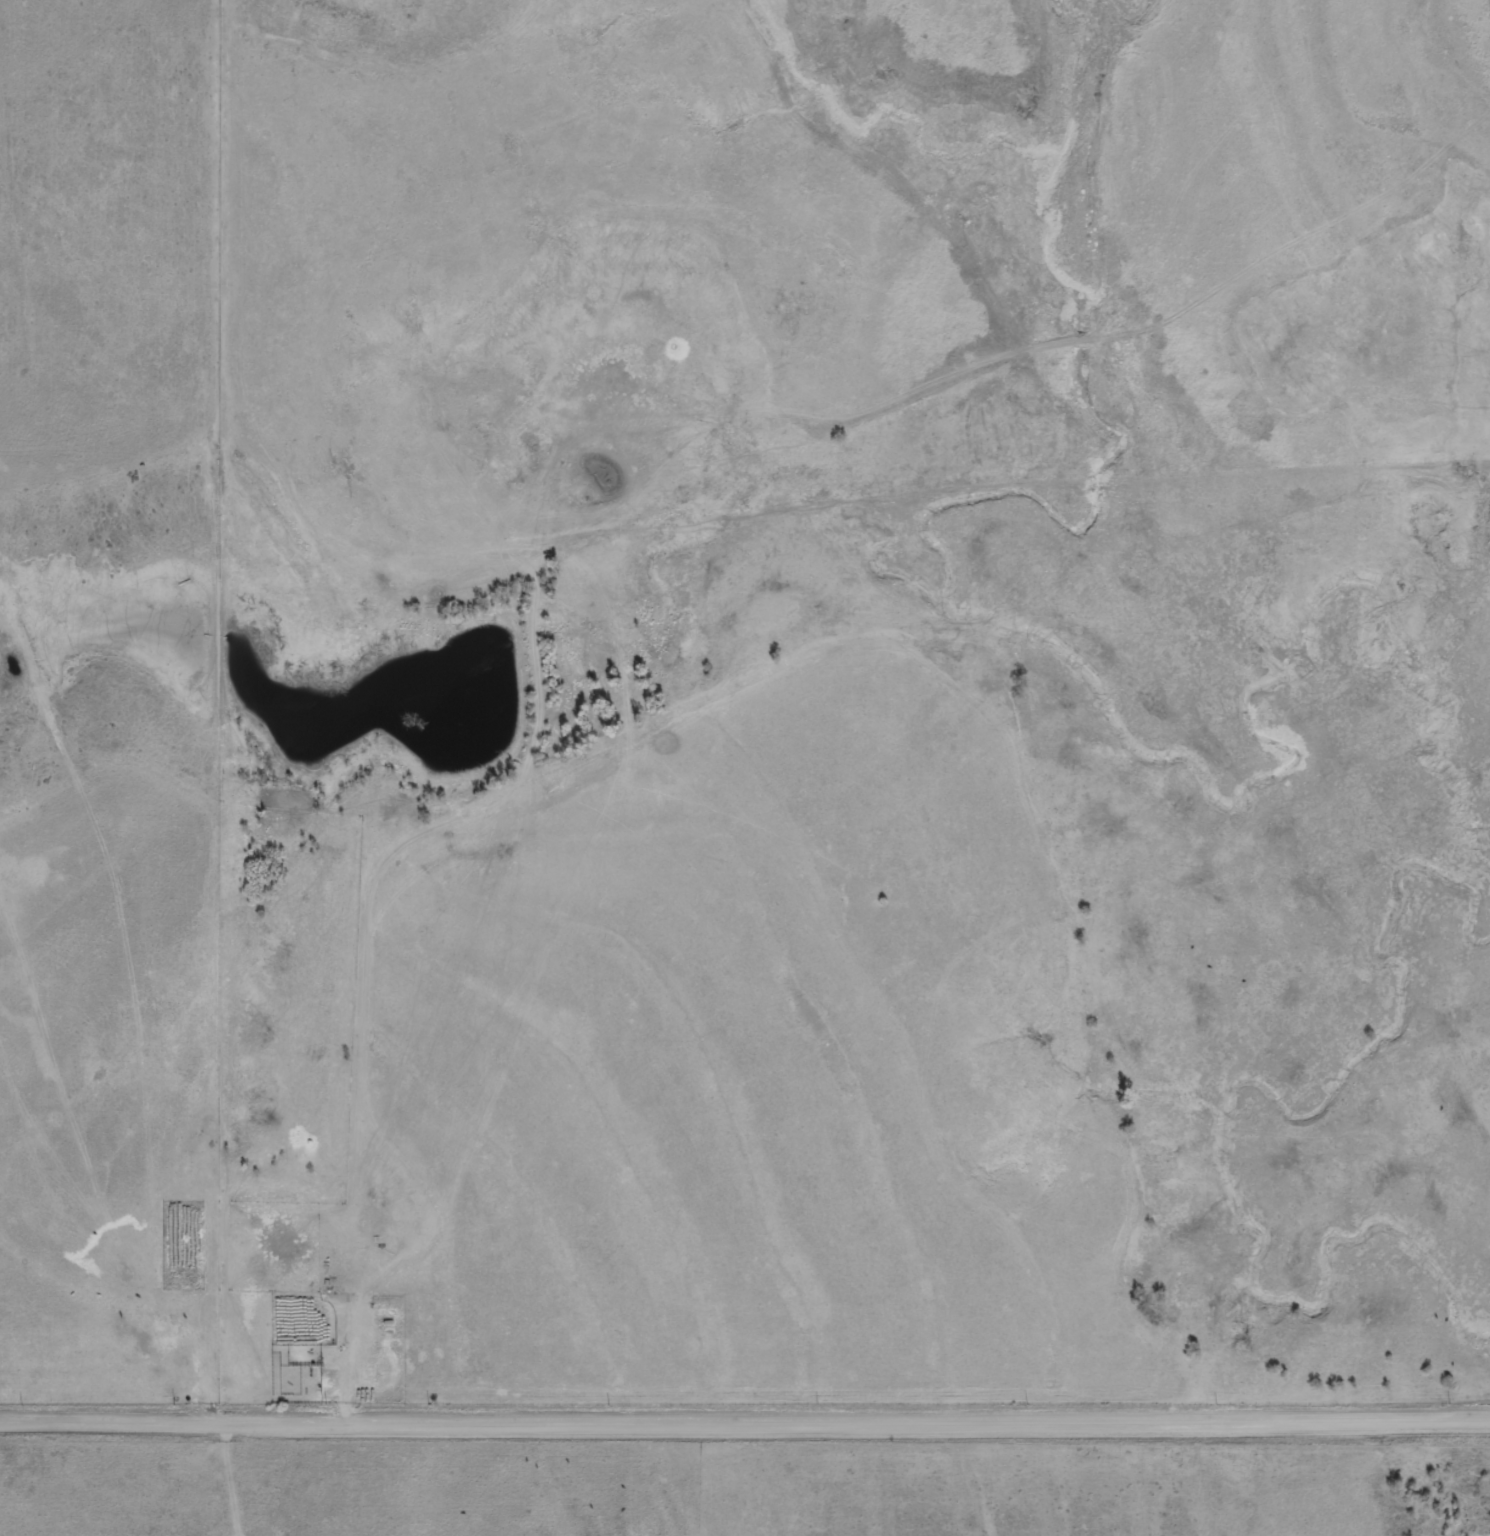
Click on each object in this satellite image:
road: (745, 1423)

